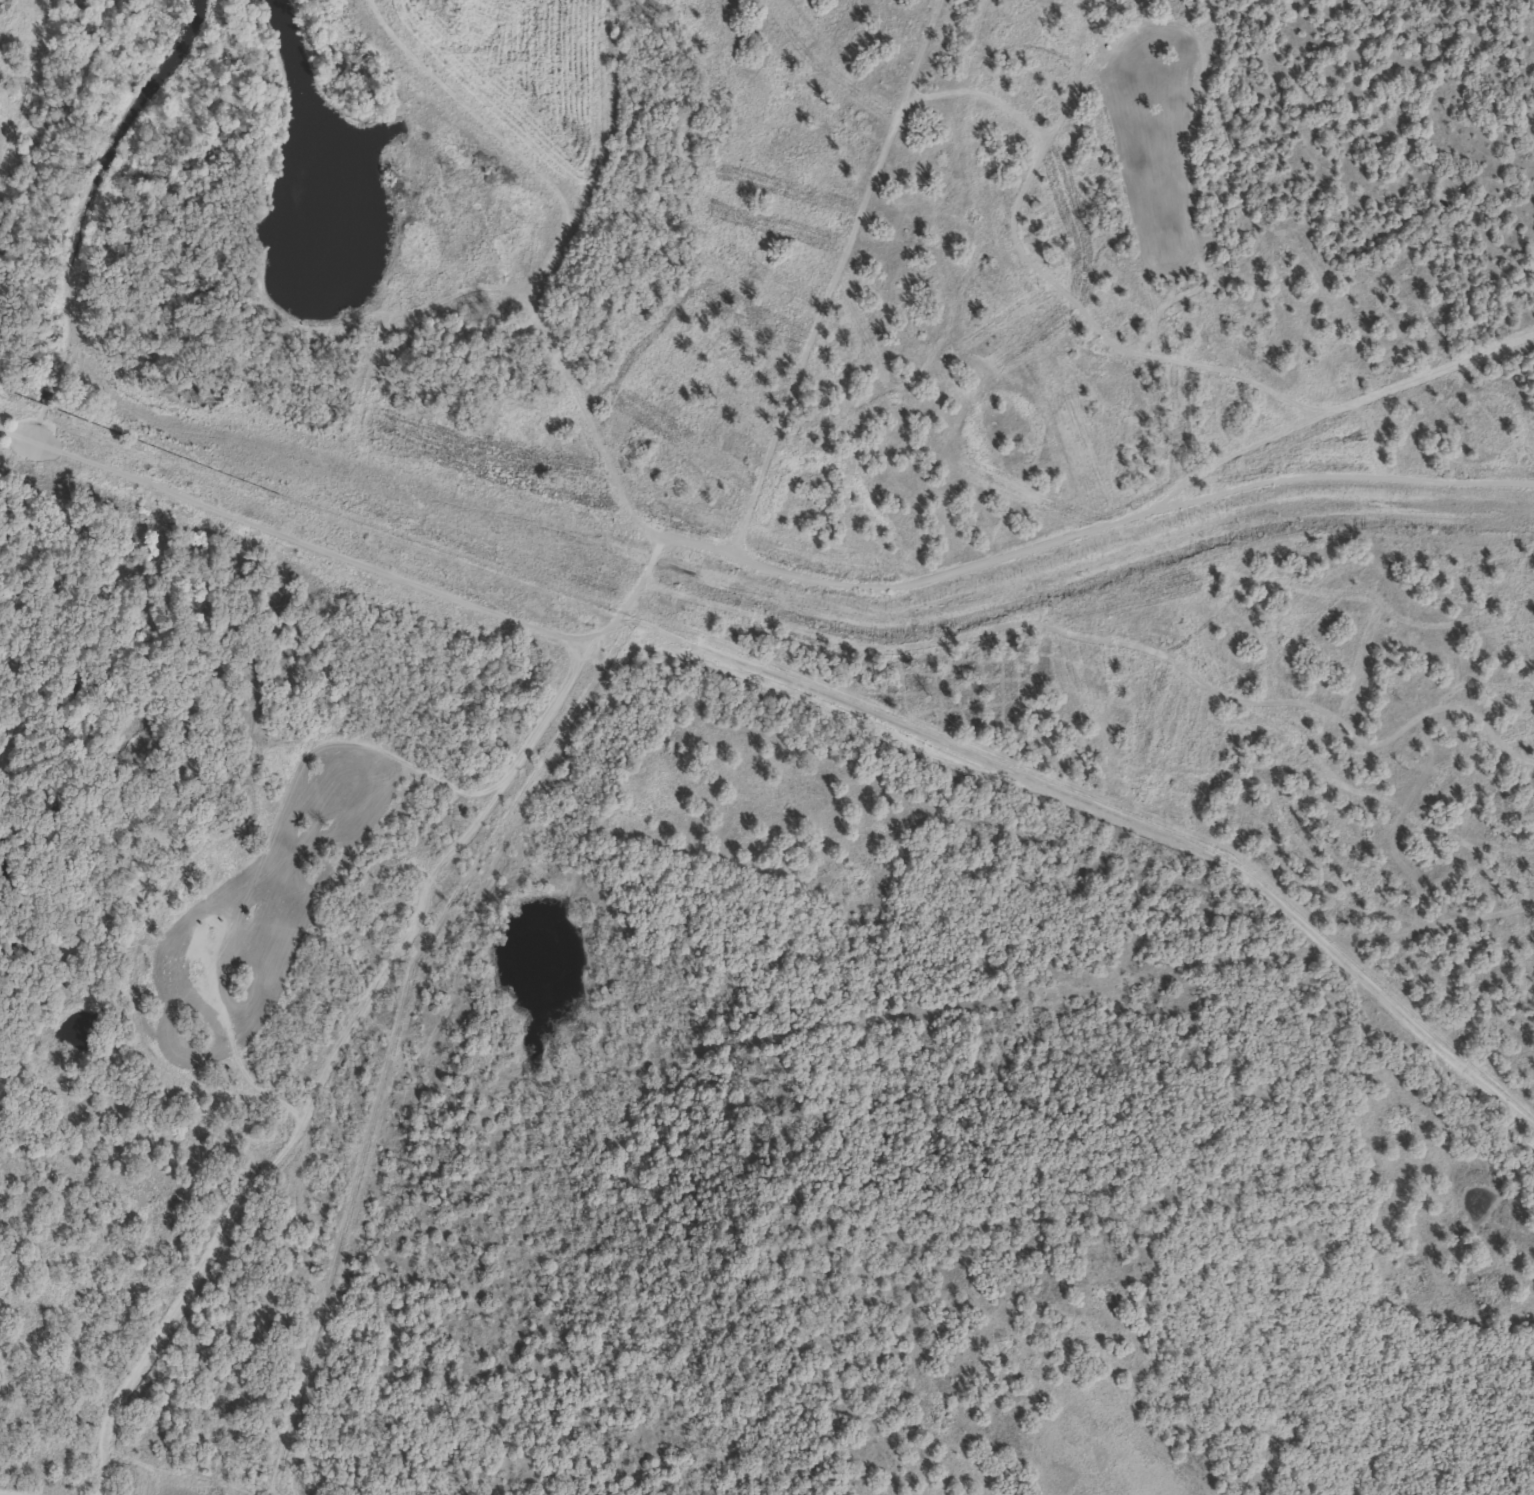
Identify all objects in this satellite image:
road: (302, 537)
road: (1111, 817)
road: (338, 1049)
road: (19, 1491)

